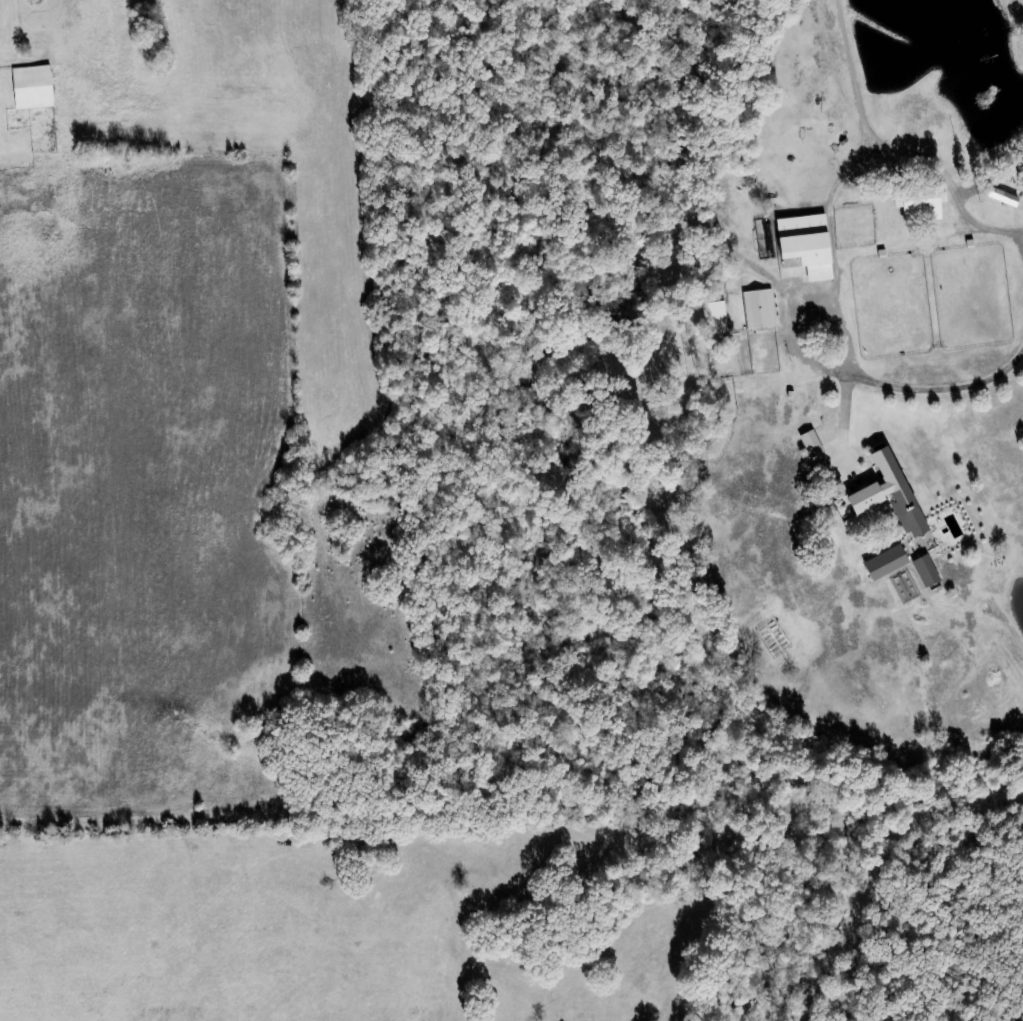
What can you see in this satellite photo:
building: (29, 88)
road: (471, 116)
building: (917, 210)
building: (789, 219)
building: (803, 255)
building: (756, 310)
building: (714, 319)
building: (883, 491)
building: (882, 564)
building: (922, 572)

